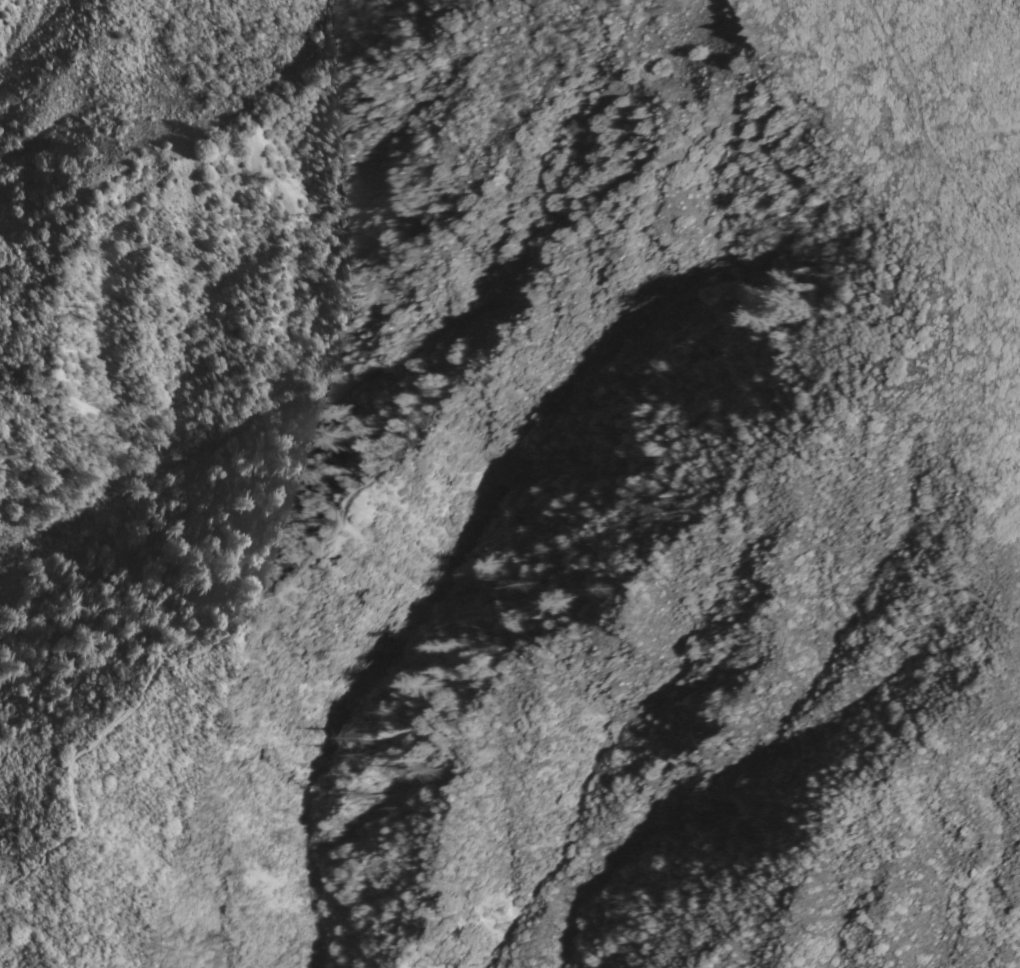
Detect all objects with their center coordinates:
road: (922, 125)
road: (410, 457)
road: (142, 693)

